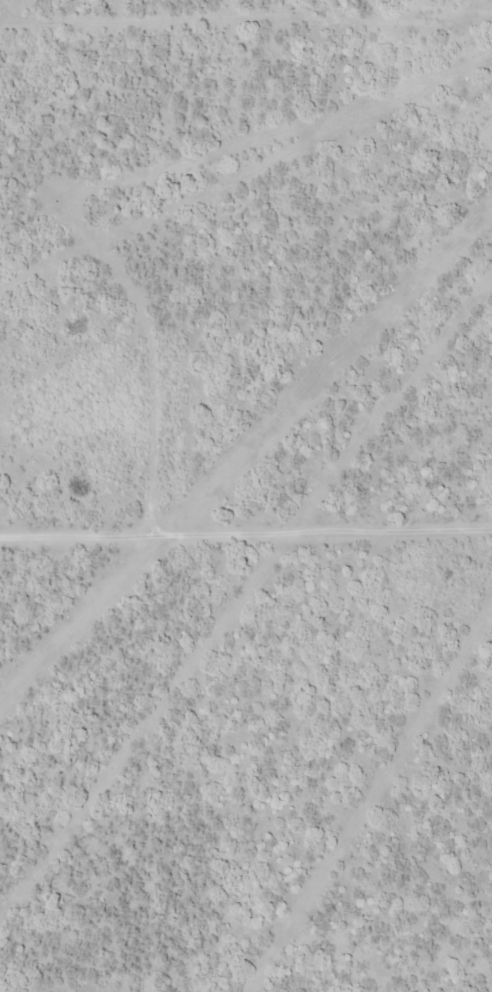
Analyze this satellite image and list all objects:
road: (246, 524)

